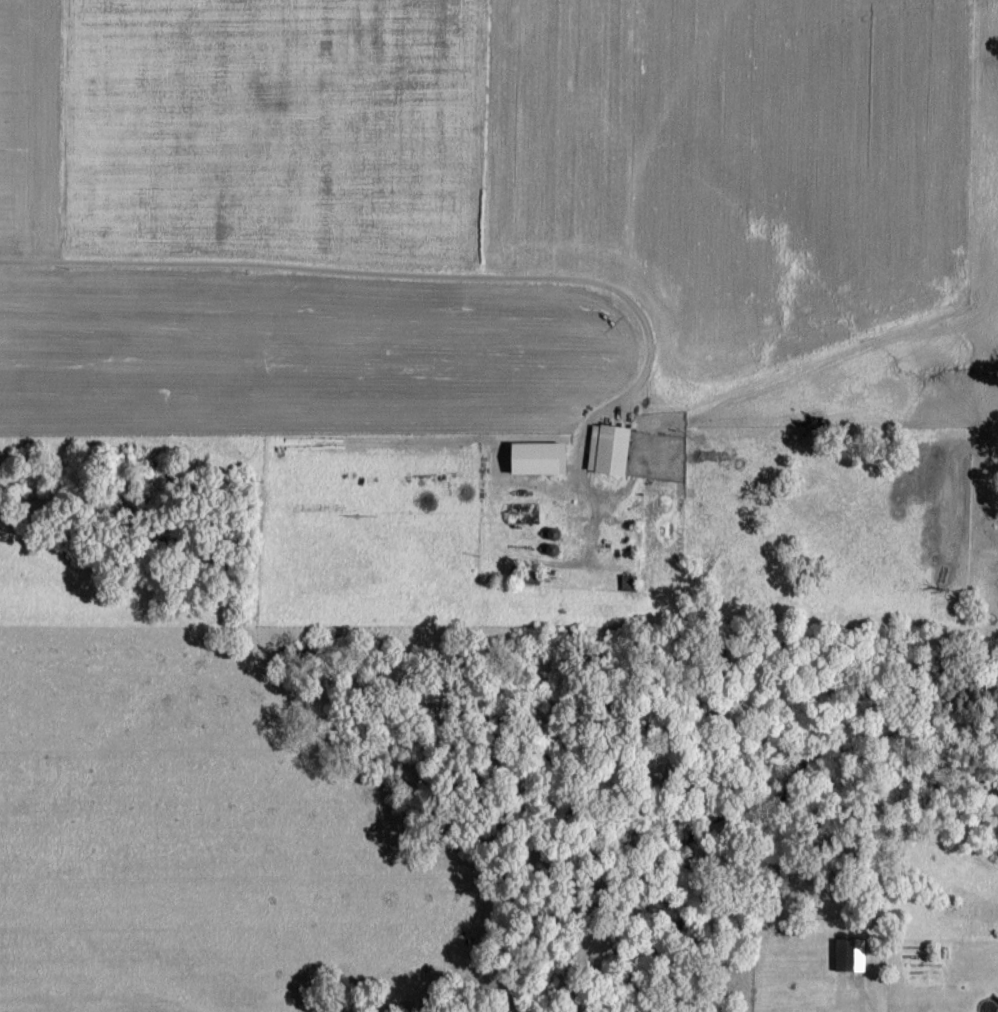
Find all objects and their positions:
road: (386, 274)
building: (610, 450)
building: (541, 458)
building: (851, 956)
road: (868, 1000)

